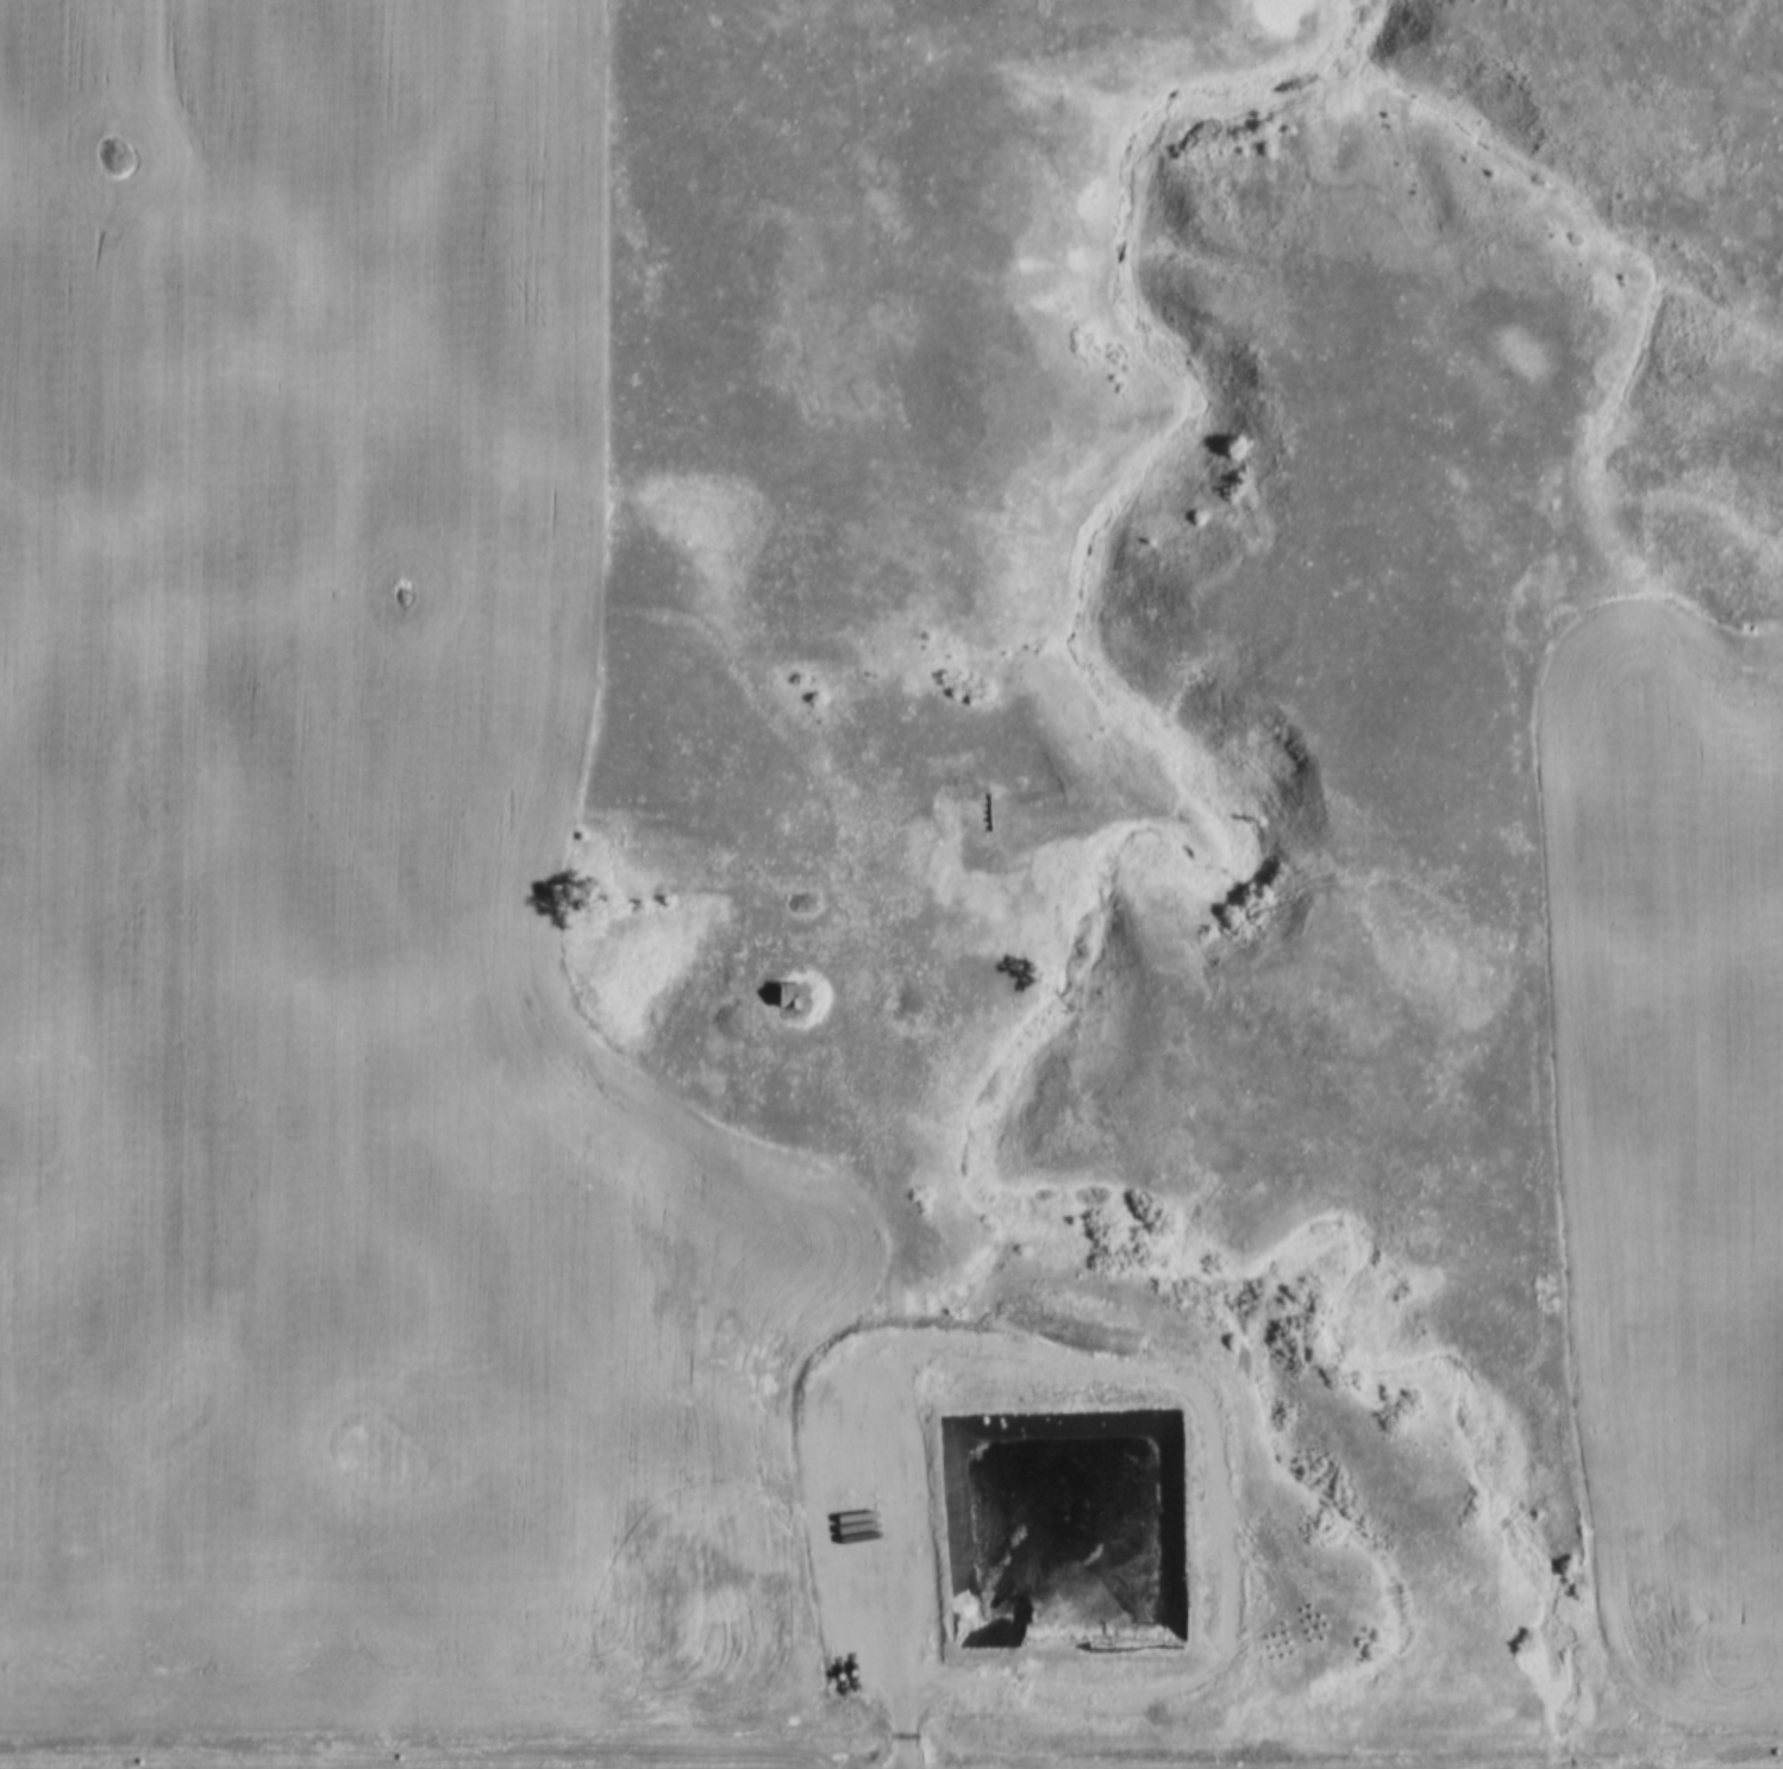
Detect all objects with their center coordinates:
road: (940, 691)
road: (912, 1576)

